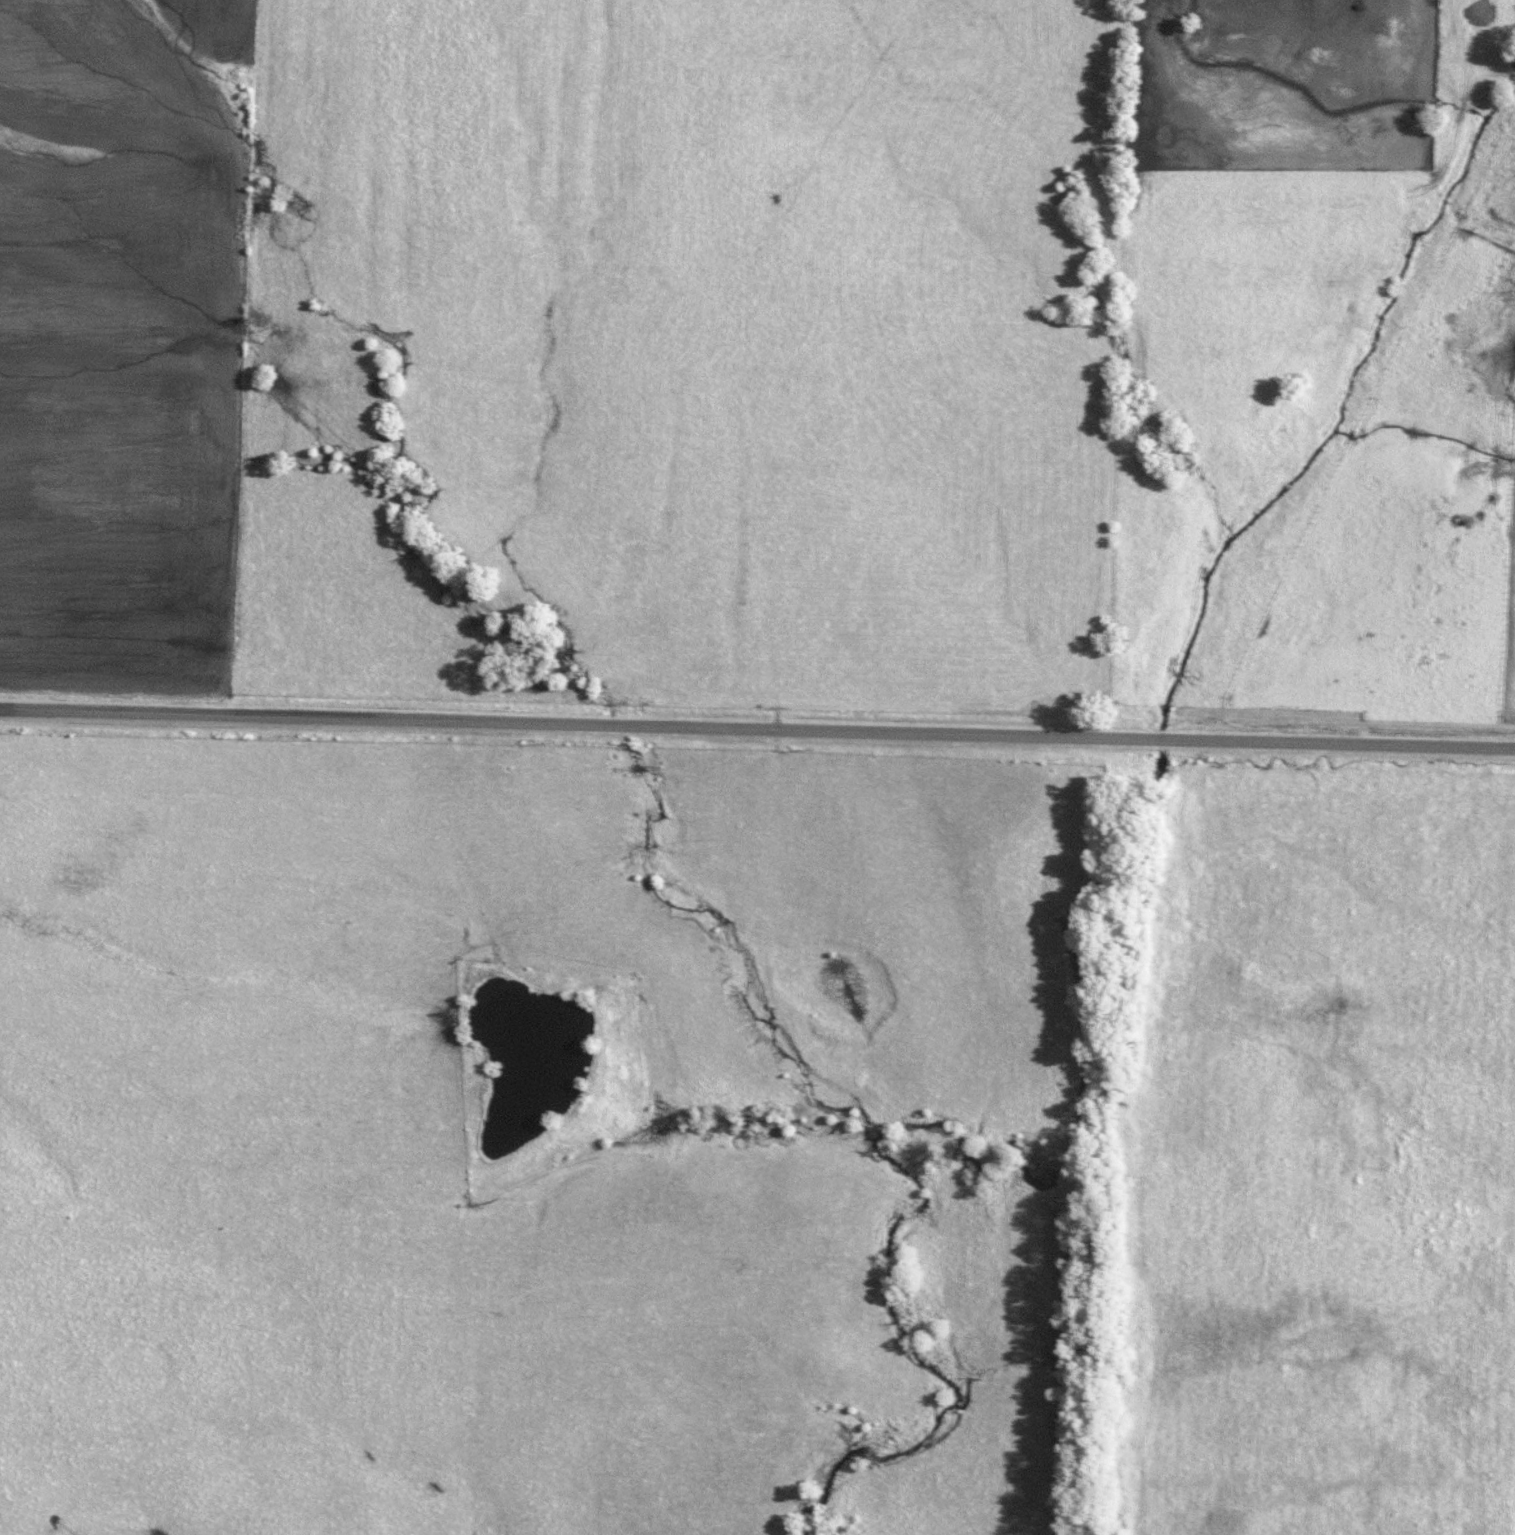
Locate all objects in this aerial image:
road: (757, 729)

